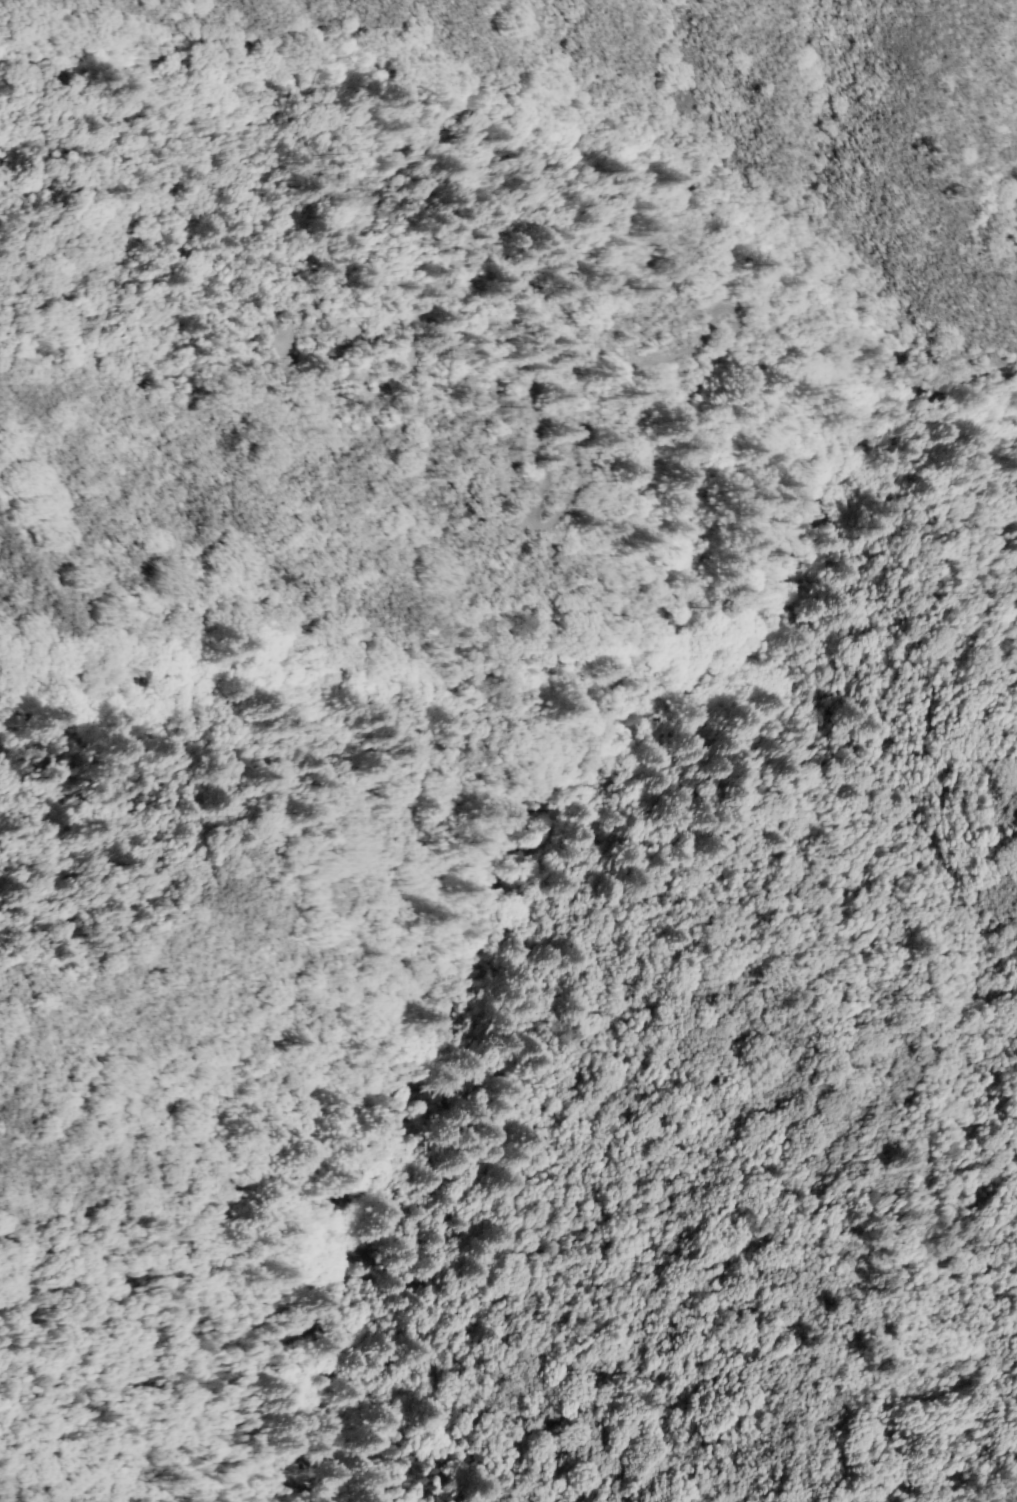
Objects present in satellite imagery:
road: (911, 363)
road: (882, 409)
road: (890, 411)
road: (956, 423)
road: (784, 504)
road: (2, 515)
road: (281, 530)
road: (789, 536)
road: (637, 669)
road: (557, 691)
road: (643, 1041)
road: (407, 1071)

